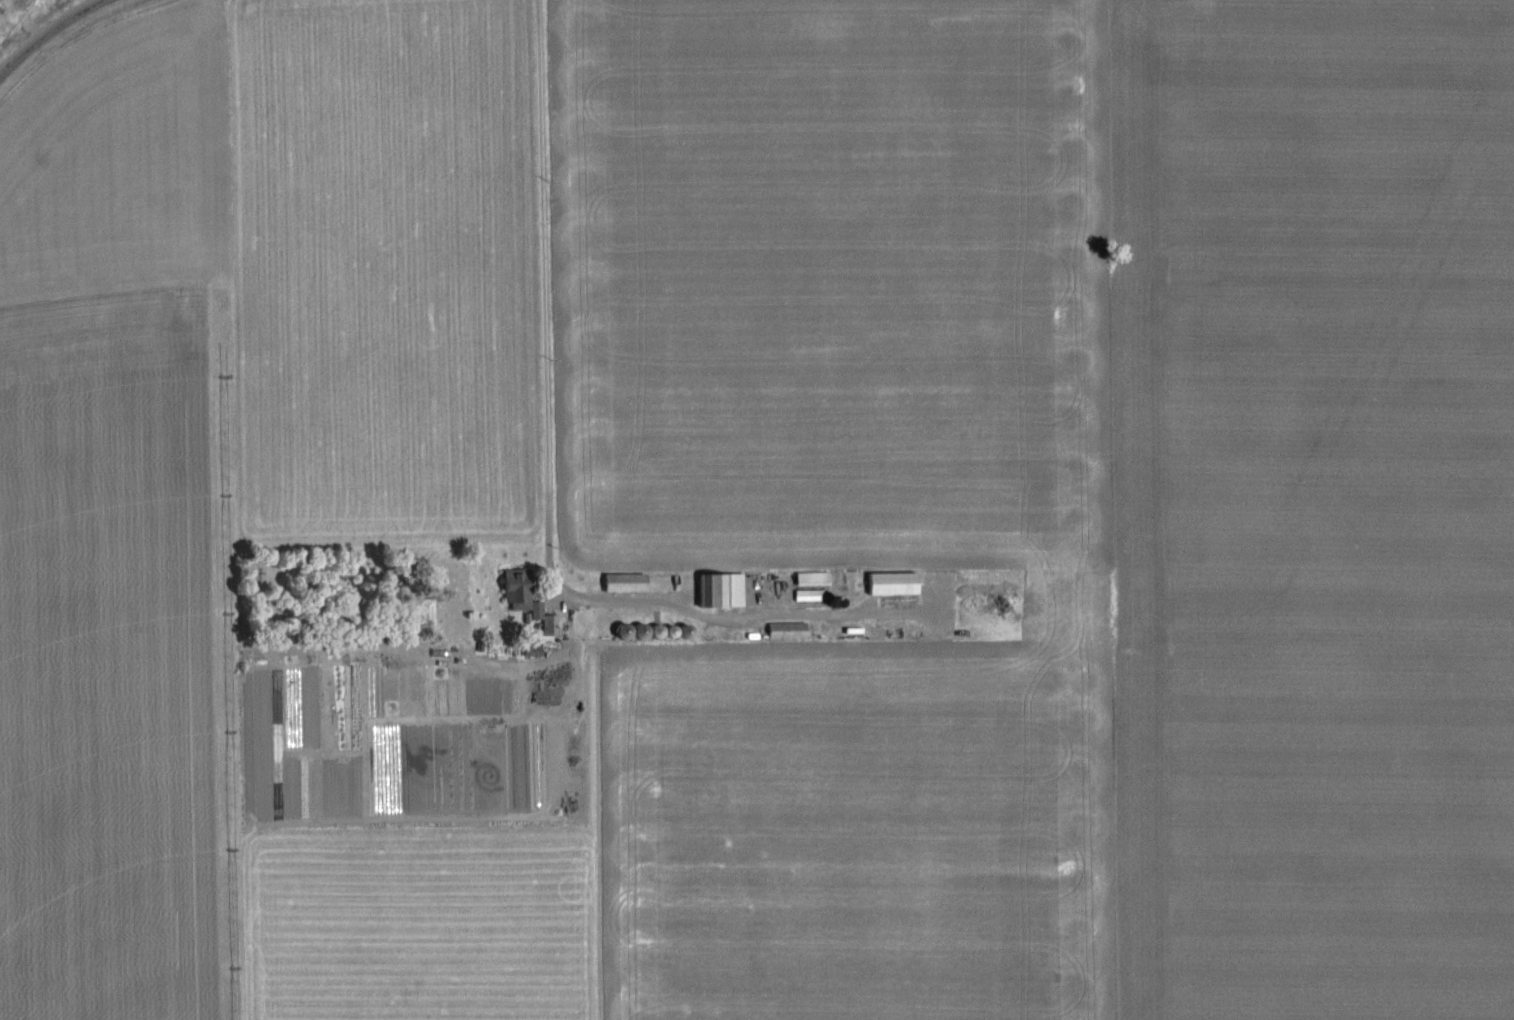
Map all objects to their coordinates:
road: (48, 33)
road: (545, 304)
building: (513, 583)
building: (623, 584)
building: (892, 585)
building: (720, 592)
building: (550, 626)
building: (786, 632)

